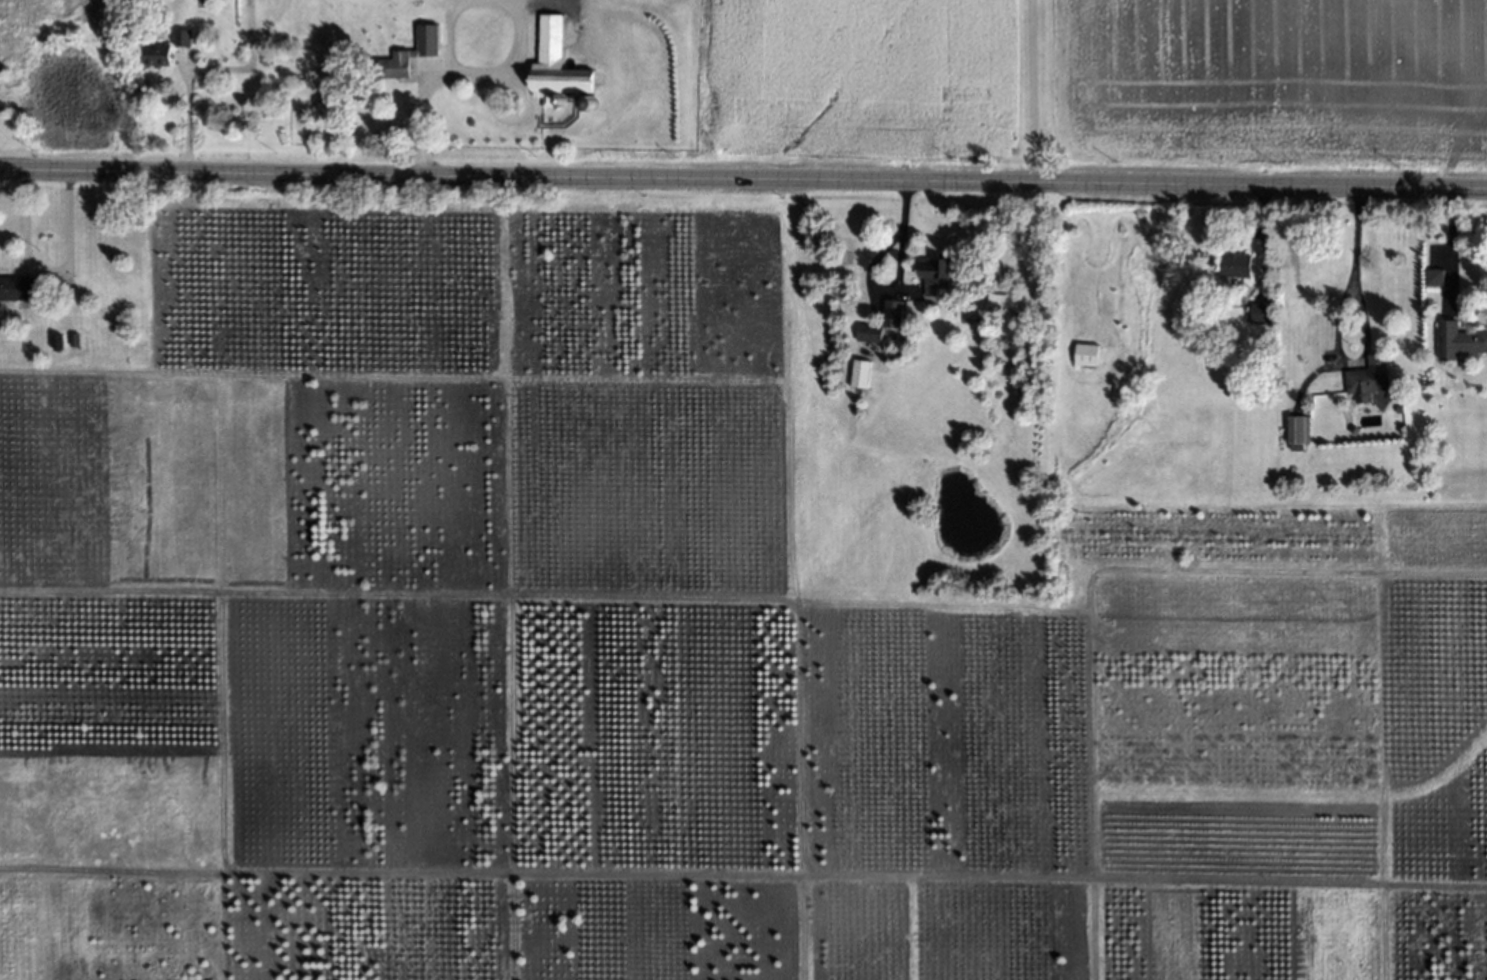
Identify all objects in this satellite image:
road: (445, 29)
building: (177, 38)
building: (423, 38)
building: (153, 57)
road: (507, 61)
building: (552, 63)
building: (391, 64)
road: (1030, 91)
building: (559, 98)
building: (589, 103)
road: (189, 115)
road: (420, 117)
road: (743, 180)
road: (1449, 245)
building: (1234, 263)
road: (1352, 267)
building: (938, 273)
building: (1431, 274)
building: (18, 288)
building: (1003, 298)
building: (1260, 312)
building: (893, 313)
building: (1264, 330)
building: (871, 332)
building: (1457, 338)
building: (1247, 339)
building: (71, 341)
building: (54, 343)
building: (1086, 357)
building: (860, 375)
building: (1370, 375)
building: (1396, 405)
building: (1351, 426)
building: (1298, 431)

